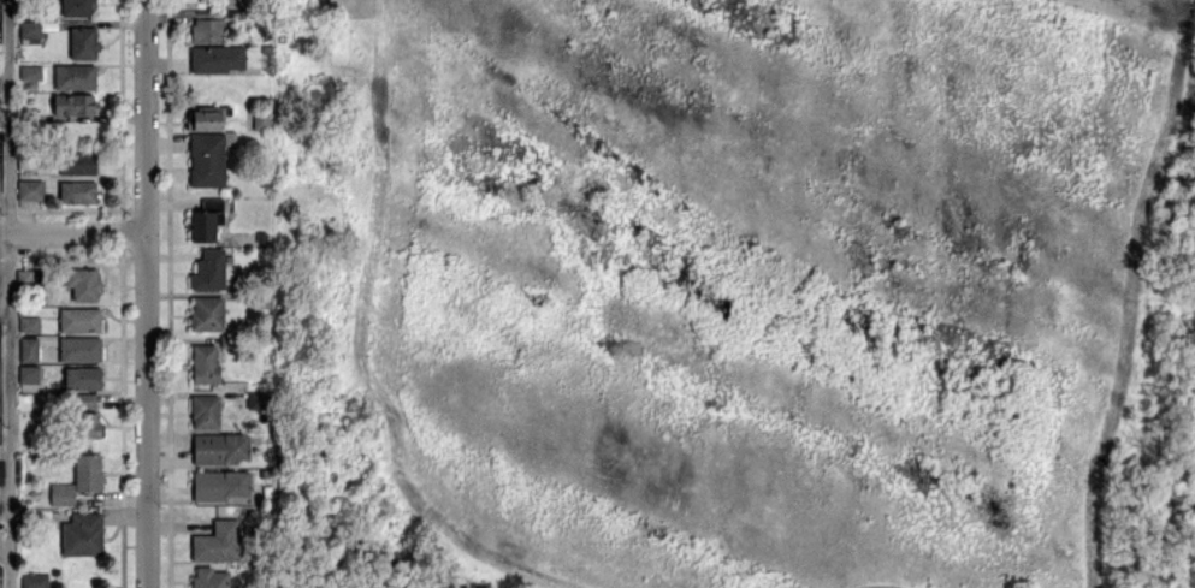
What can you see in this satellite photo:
road: (73, 236)
road: (7, 293)
road: (147, 293)
road: (5, 498)
road: (5, 552)

